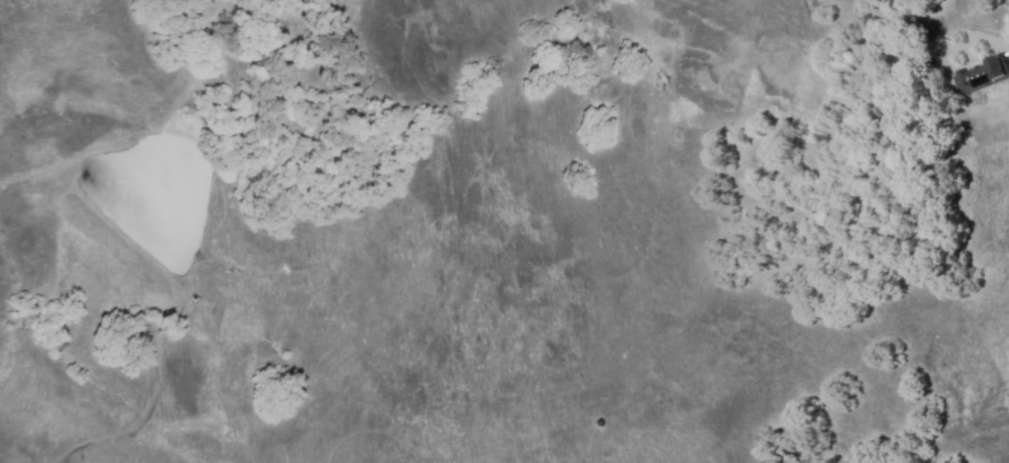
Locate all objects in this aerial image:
road: (931, 39)
building: (980, 74)

